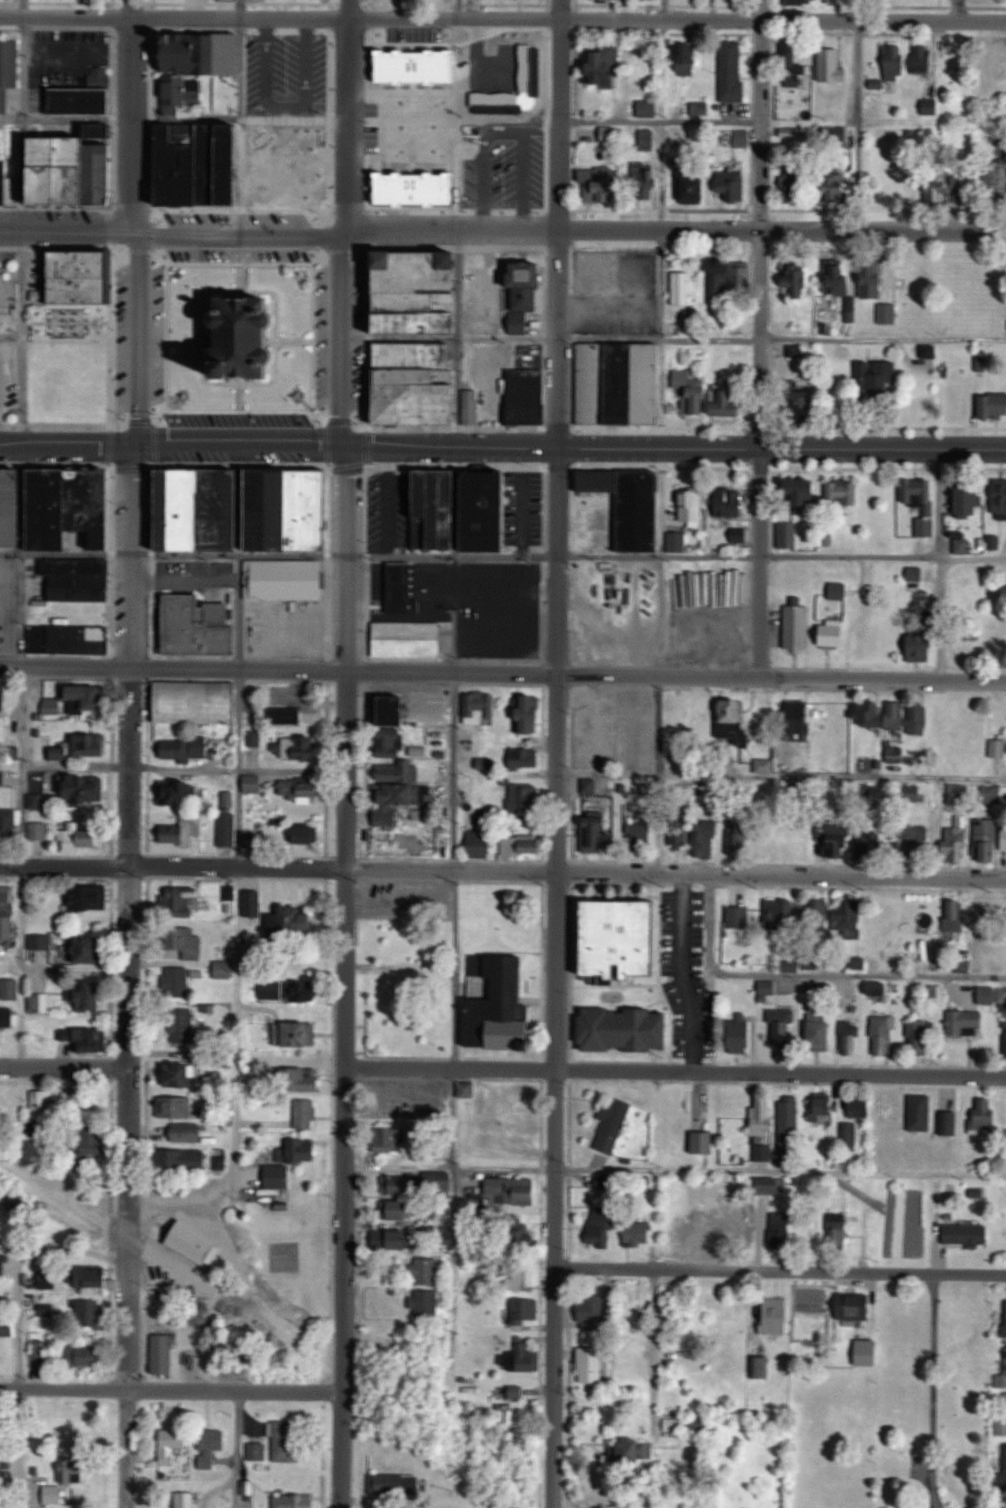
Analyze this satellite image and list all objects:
building: (801, 2)
road: (957, 10)
road: (175, 17)
road: (678, 17)
building: (515, 58)
building: (687, 58)
building: (923, 59)
road: (62, 60)
building: (895, 63)
building: (793, 66)
building: (603, 67)
building: (832, 67)
building: (1003, 69)
building: (8, 70)
building: (732, 70)
building: (250, 74)
road: (22, 76)
road: (402, 94)
building: (86, 97)
building: (513, 97)
building: (929, 106)
building: (649, 108)
road: (857, 114)
road: (243, 115)
road: (347, 116)
road: (508, 118)
road: (611, 120)
road: (457, 125)
building: (743, 137)
building: (526, 148)
building: (420, 150)
building: (230, 161)
building: (76, 174)
building: (10, 180)
building: (644, 182)
building: (732, 183)
building: (995, 183)
building: (795, 185)
building: (601, 186)
building: (692, 186)
building: (912, 186)
building: (837, 187)
building: (935, 195)
road: (559, 223)
road: (133, 224)
road: (782, 230)
road: (279, 232)
parking lot: (237, 255)
road: (312, 264)
building: (837, 276)
building: (83, 278)
building: (872, 278)
building: (798, 279)
building: (728, 281)
road: (22, 287)
building: (682, 287)
road: (660, 290)
building: (423, 292)
building: (525, 292)
building: (887, 313)
parking lot: (157, 333)
parking lot: (322, 336)
building: (243, 337)
road: (761, 339)
road: (833, 339)
road: (341, 342)
building: (881, 379)
building: (621, 382)
building: (421, 386)
building: (692, 394)
road: (1, 396)
building: (526, 396)
building: (954, 401)
building: (730, 402)
building: (993, 404)
parking lot: (241, 420)
road: (675, 447)
road: (173, 449)
building: (804, 490)
building: (842, 491)
building: (970, 498)
building: (999, 498)
building: (437, 499)
building: (630, 504)
building: (691, 504)
building: (732, 504)
building: (924, 504)
building: (57, 507)
building: (201, 509)
building: (290, 509)
road: (523, 515)
building: (787, 534)
road: (172, 554)
road: (452, 555)
road: (782, 557)
road: (560, 561)
building: (80, 579)
building: (284, 580)
building: (838, 590)
road: (633, 599)
road: (660, 618)
road: (942, 619)
building: (199, 626)
building: (798, 626)
road: (606, 628)
building: (834, 635)
building: (69, 639)
building: (407, 639)
building: (861, 641)
building: (921, 646)
road: (171, 668)
road: (674, 678)
building: (4, 695)
building: (77, 699)
building: (197, 701)
building: (481, 706)
building: (395, 709)
building: (530, 714)
building: (678, 714)
building: (824, 714)
building: (884, 714)
building: (845, 715)
building: (919, 716)
building: (799, 717)
building: (732, 719)
building: (945, 720)
building: (974, 725)
building: (289, 735)
building: (81, 746)
building: (185, 747)
building: (998, 748)
building: (524, 757)
building: (487, 763)
building: (764, 765)
road: (183, 768)
road: (235, 769)
road: (449, 771)
road: (782, 776)
building: (2, 777)
building: (396, 777)
building: (253, 784)
building: (85, 786)
building: (301, 789)
building: (178, 792)
building: (910, 793)
building: (525, 796)
building: (8, 826)
building: (228, 829)
building: (39, 830)
building: (183, 831)
building: (679, 833)
building: (307, 834)
building: (595, 835)
building: (737, 835)
building: (82, 836)
building: (640, 836)
building: (256, 838)
building: (706, 838)
building: (915, 838)
building: (1004, 838)
building: (956, 840)
building: (986, 840)
building: (481, 841)
building: (522, 843)
building: (840, 844)
road: (21, 866)
road: (172, 868)
road: (676, 872)
building: (87, 898)
building: (180, 901)
building: (252, 904)
building: (7, 912)
building: (780, 912)
building: (980, 913)
building: (955, 914)
building: (739, 915)
building: (298, 919)
building: (849, 919)
road: (346, 921)
building: (619, 938)
building: (189, 943)
building: (40, 948)
building: (90, 949)
road: (400, 965)
road: (454, 968)
building: (223, 969)
road: (686, 972)
road: (811, 974)
road: (128, 978)
building: (177, 981)
building: (10, 988)
building: (880, 988)
building: (290, 990)
building: (935, 994)
building: (88, 995)
building: (988, 995)
building: (501, 1009)
building: (7, 1016)
road: (236, 1021)
building: (966, 1022)
building: (183, 1025)
building: (781, 1026)
building: (625, 1029)
building: (821, 1031)
building: (65, 1033)
building: (295, 1033)
building: (742, 1033)
building: (883, 1035)
building: (850, 1037)
building: (919, 1037)
building: (1005, 1038)
building: (92, 1039)
road: (557, 1058)
road: (64, 1065)
road: (450, 1066)
road: (781, 1073)
building: (182, 1074)
building: (303, 1079)
building: (467, 1090)
building: (8, 1098)
building: (43, 1104)
building: (860, 1106)
building: (176, 1107)
building: (824, 1108)
building: (921, 1112)
building: (305, 1114)
building: (986, 1114)
building: (763, 1115)
road: (455, 1119)
building: (789, 1121)
building: (950, 1123)
building: (613, 1124)
building: (850, 1133)
building: (188, 1134)
building: (390, 1139)
building: (93, 1141)
building: (702, 1142)
building: (304, 1150)
building: (763, 1151)
building: (180, 1160)
road: (674, 1172)
building: (279, 1177)
building: (772, 1184)
building: (401, 1185)
building: (514, 1190)
road: (180, 1199)
building: (400, 1210)
building: (600, 1227)
building: (637, 1232)
building: (713, 1232)
building: (838, 1232)
building: (783, 1233)
building: (966, 1233)
building: (401, 1239)
building: (522, 1239)
building: (194, 1242)
building: (3, 1262)
road: (18, 1267)
road: (780, 1270)
building: (426, 1271)
building: (523, 1276)
building: (93, 1277)
building: (47, 1278)
building: (426, 1303)
building: (854, 1306)
building: (526, 1309)
building: (592, 1311)
building: (88, 1312)
building: (776, 1315)
building: (1005, 1318)
building: (5, 1333)
road: (652, 1346)
building: (40, 1351)
building: (164, 1354)
building: (85, 1355)
building: (871, 1357)
building: (525, 1360)
building: (590, 1365)
building: (1002, 1376)
road: (171, 1390)
road: (934, 1391)
building: (516, 1392)
building: (1002, 1412)
building: (696, 1423)
building: (287, 1440)
building: (172, 1443)
building: (211, 1446)
road: (19, 1448)
road: (237, 1449)
road: (342, 1449)
building: (632, 1450)
building: (258, 1451)
building: (1005, 1462)
building: (76, 1474)
road: (555, 1474)
building: (395, 1485)
building: (185, 1499)
building: (295, 1500)
building: (1005, 1500)

